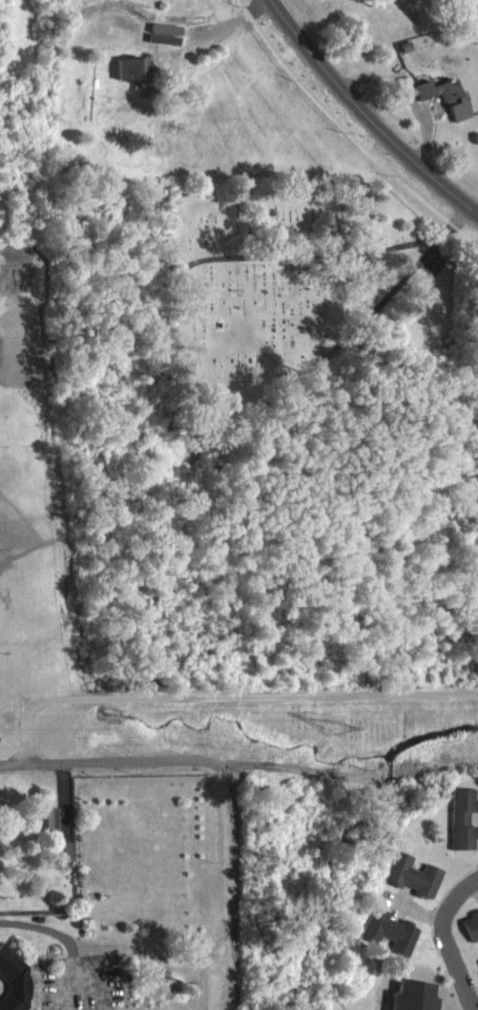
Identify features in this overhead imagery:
road: (215, 26)
building: (162, 44)
building: (129, 79)
building: (444, 108)
road: (363, 111)
power tower: (339, 727)
road: (113, 763)
building: (43, 828)
building: (460, 829)
building: (61, 861)
building: (410, 885)
road: (230, 886)
building: (470, 935)
road: (446, 939)
building: (386, 941)
building: (477, 972)
building: (12, 985)

